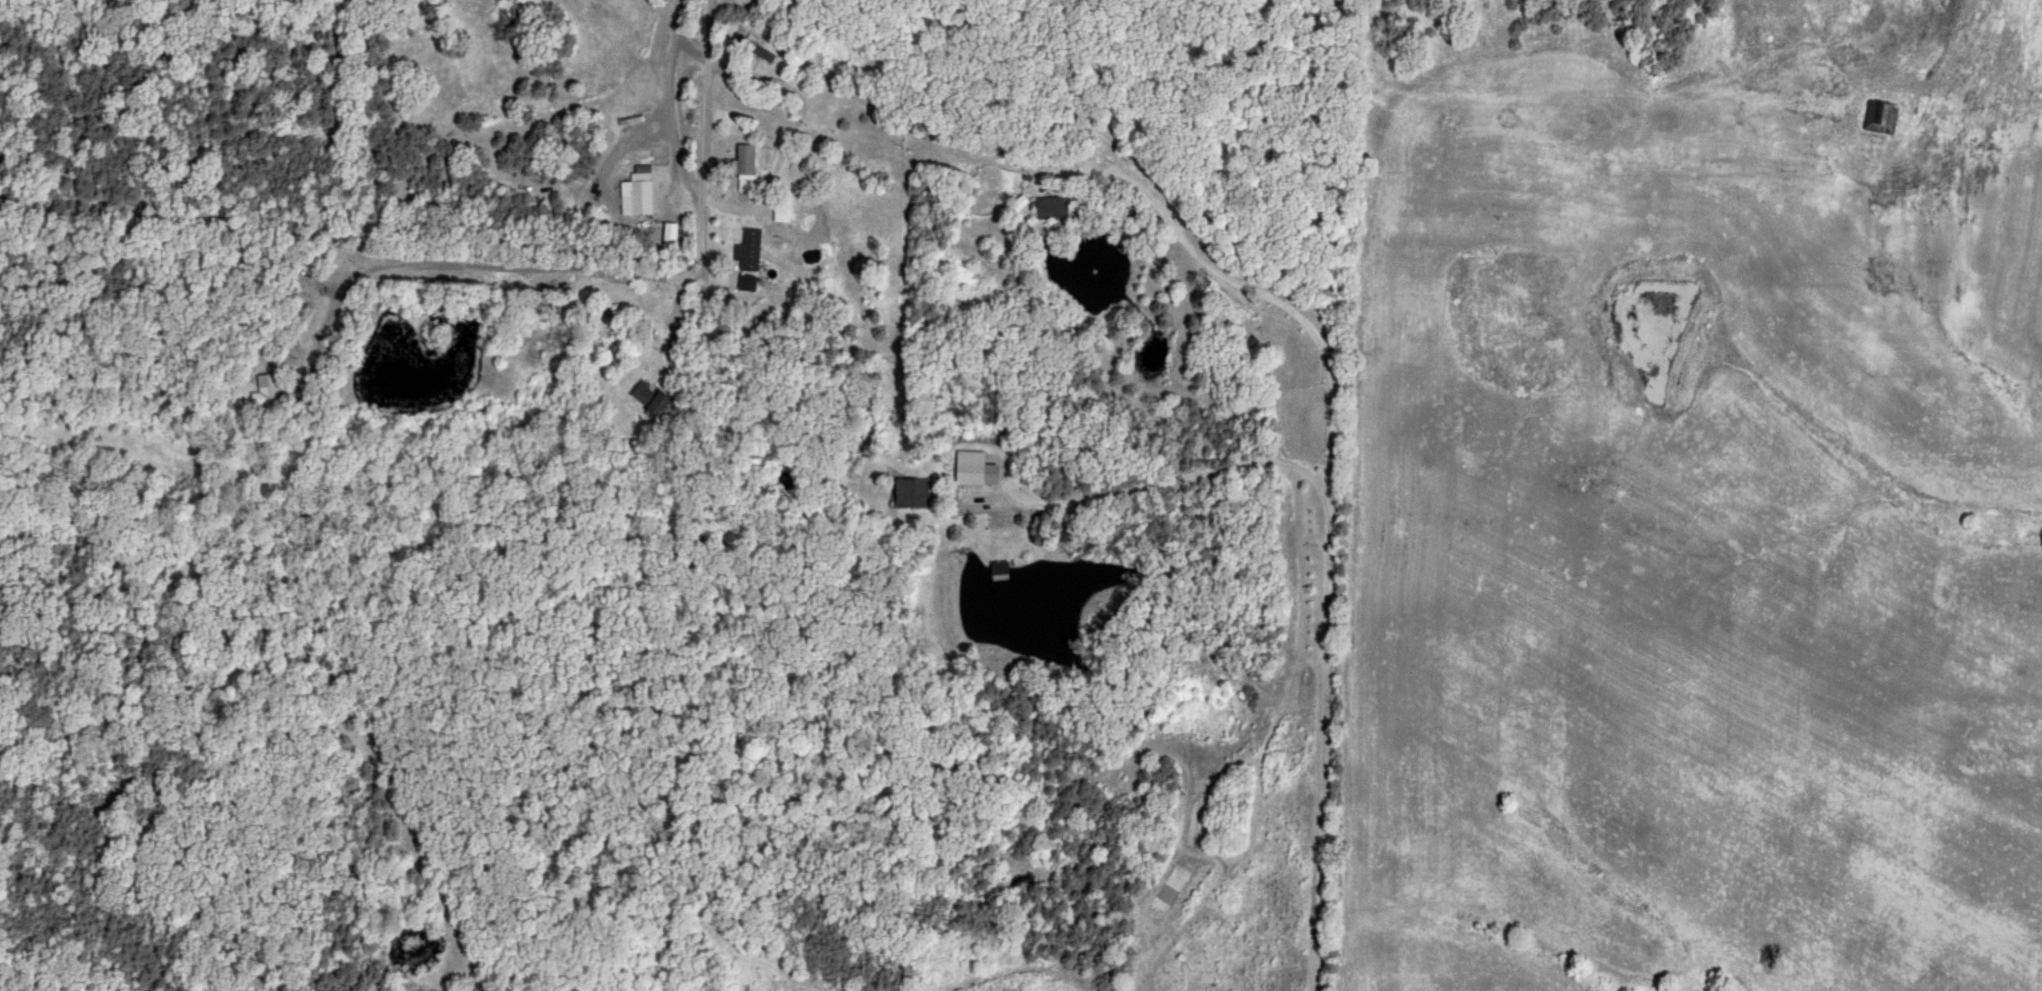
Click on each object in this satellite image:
building: (752, 45)
road: (686, 56)
road: (666, 108)
building: (1881, 116)
building: (747, 162)
building: (639, 194)
building: (1053, 208)
building: (785, 212)
building: (748, 249)
road: (616, 269)
building: (267, 388)
building: (649, 397)
building: (972, 468)
building: (913, 494)
road: (1324, 569)

